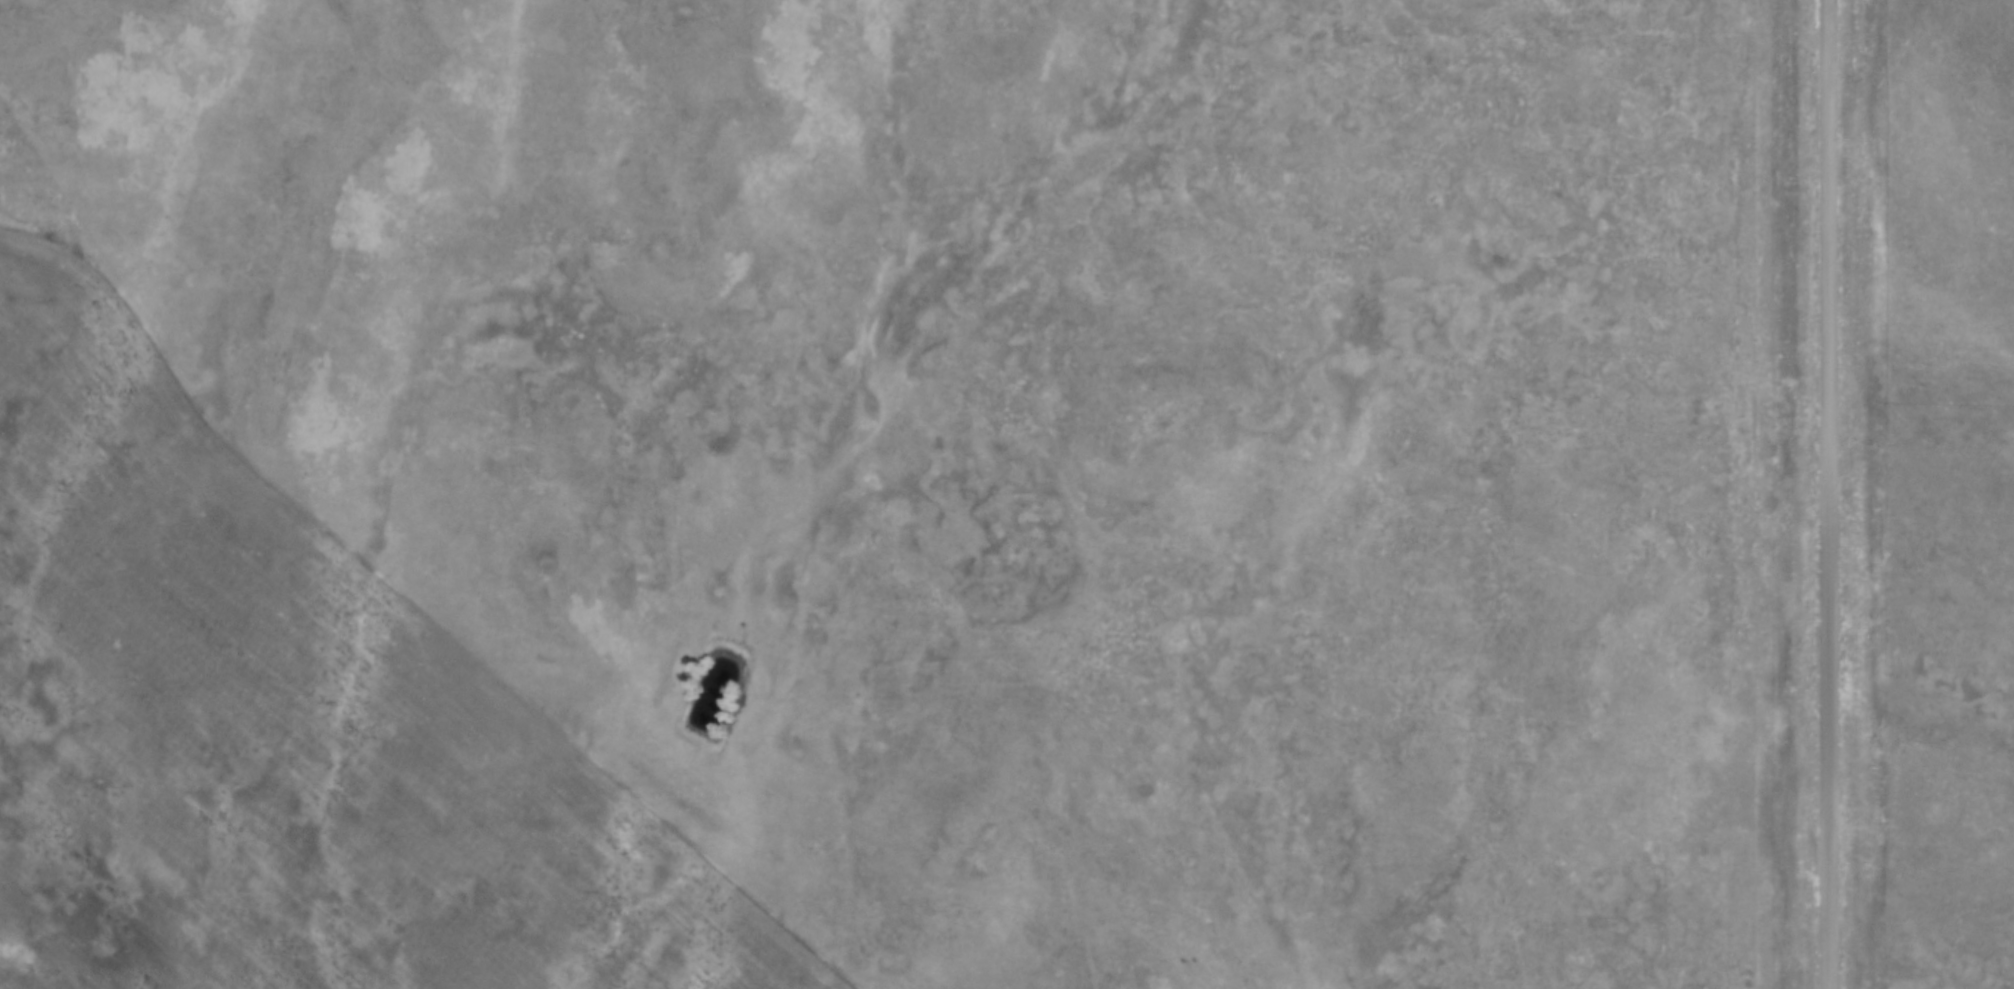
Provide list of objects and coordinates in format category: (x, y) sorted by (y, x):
road: (1830, 494)

